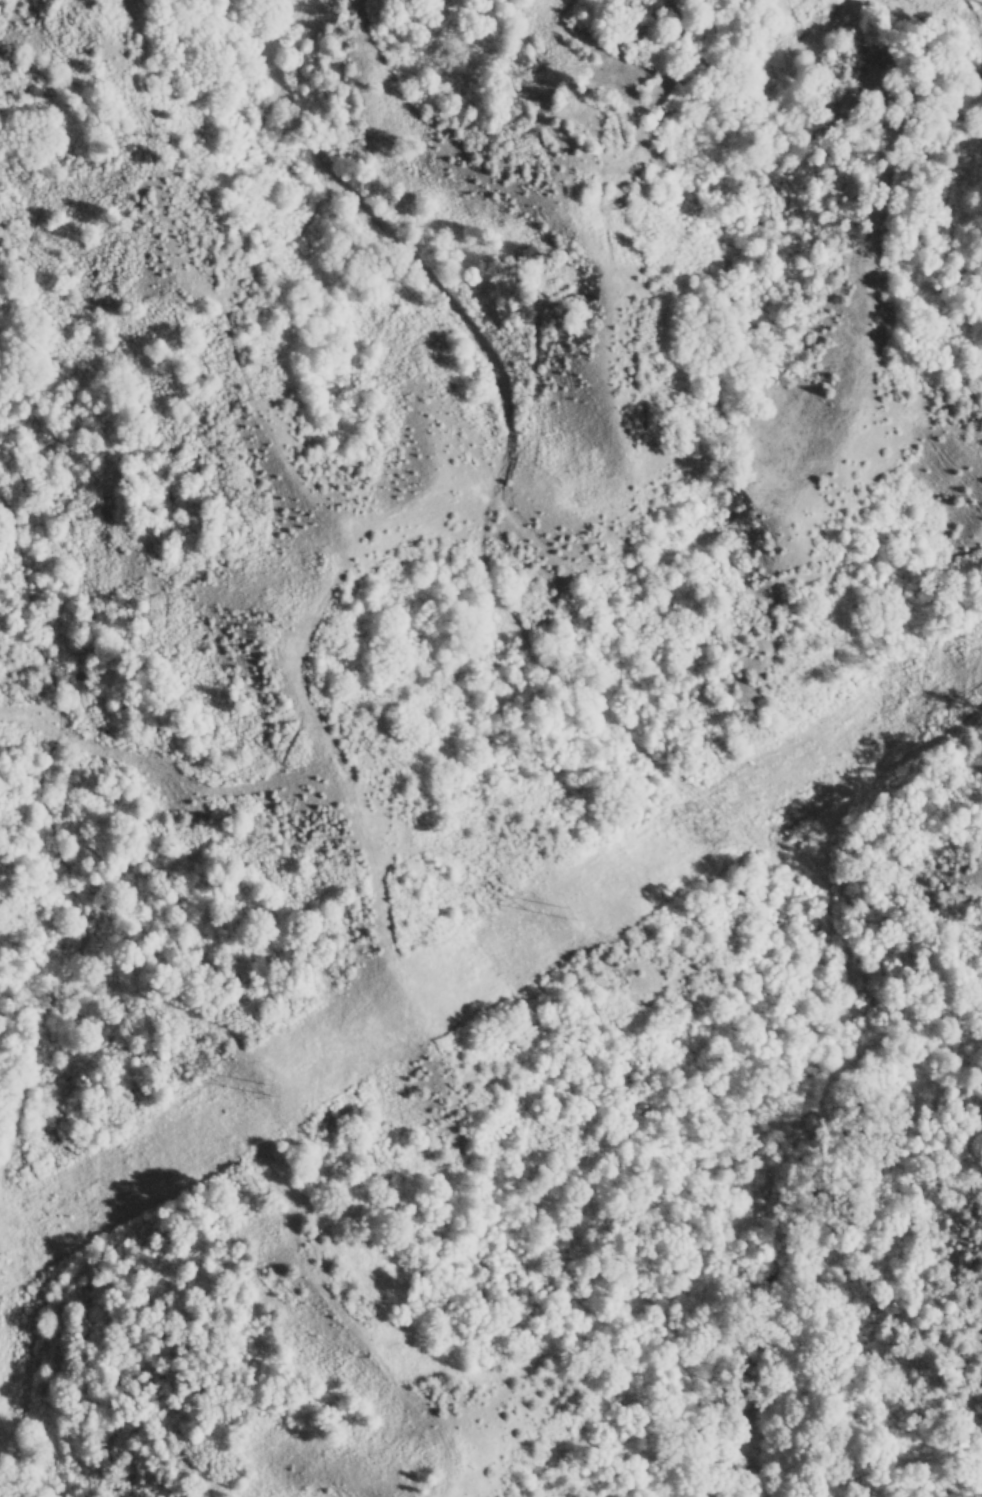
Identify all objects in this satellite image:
power tower: (569, 913)
power tower: (270, 1090)

